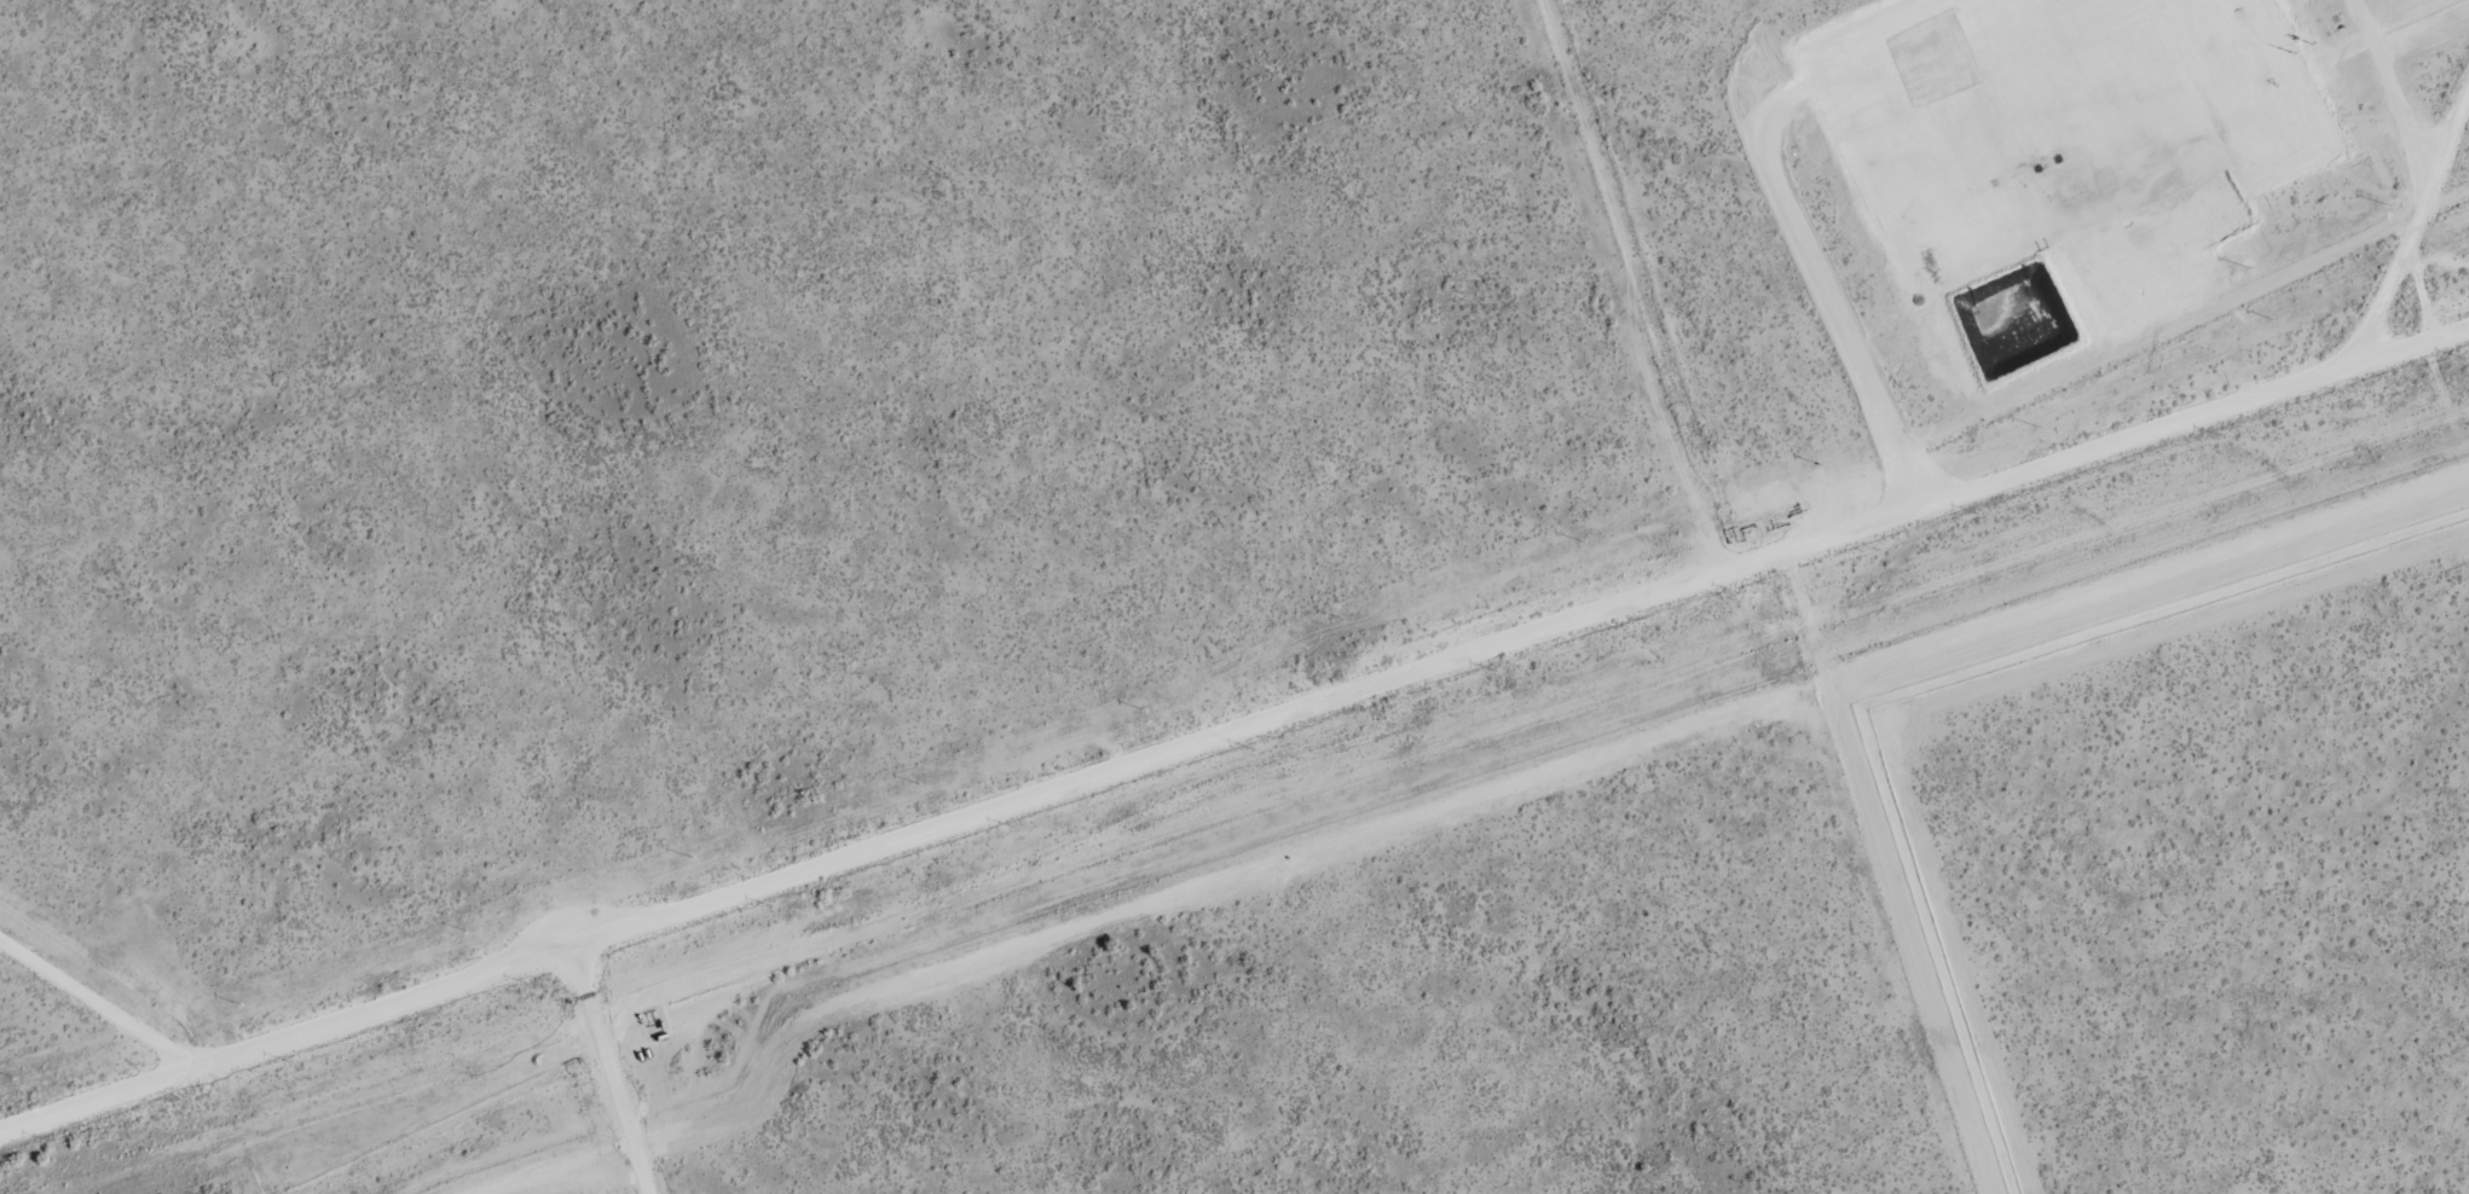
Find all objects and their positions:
road: (2395, 250)
road: (2401, 253)
road: (1231, 764)
road: (127, 1020)
road: (611, 1092)

